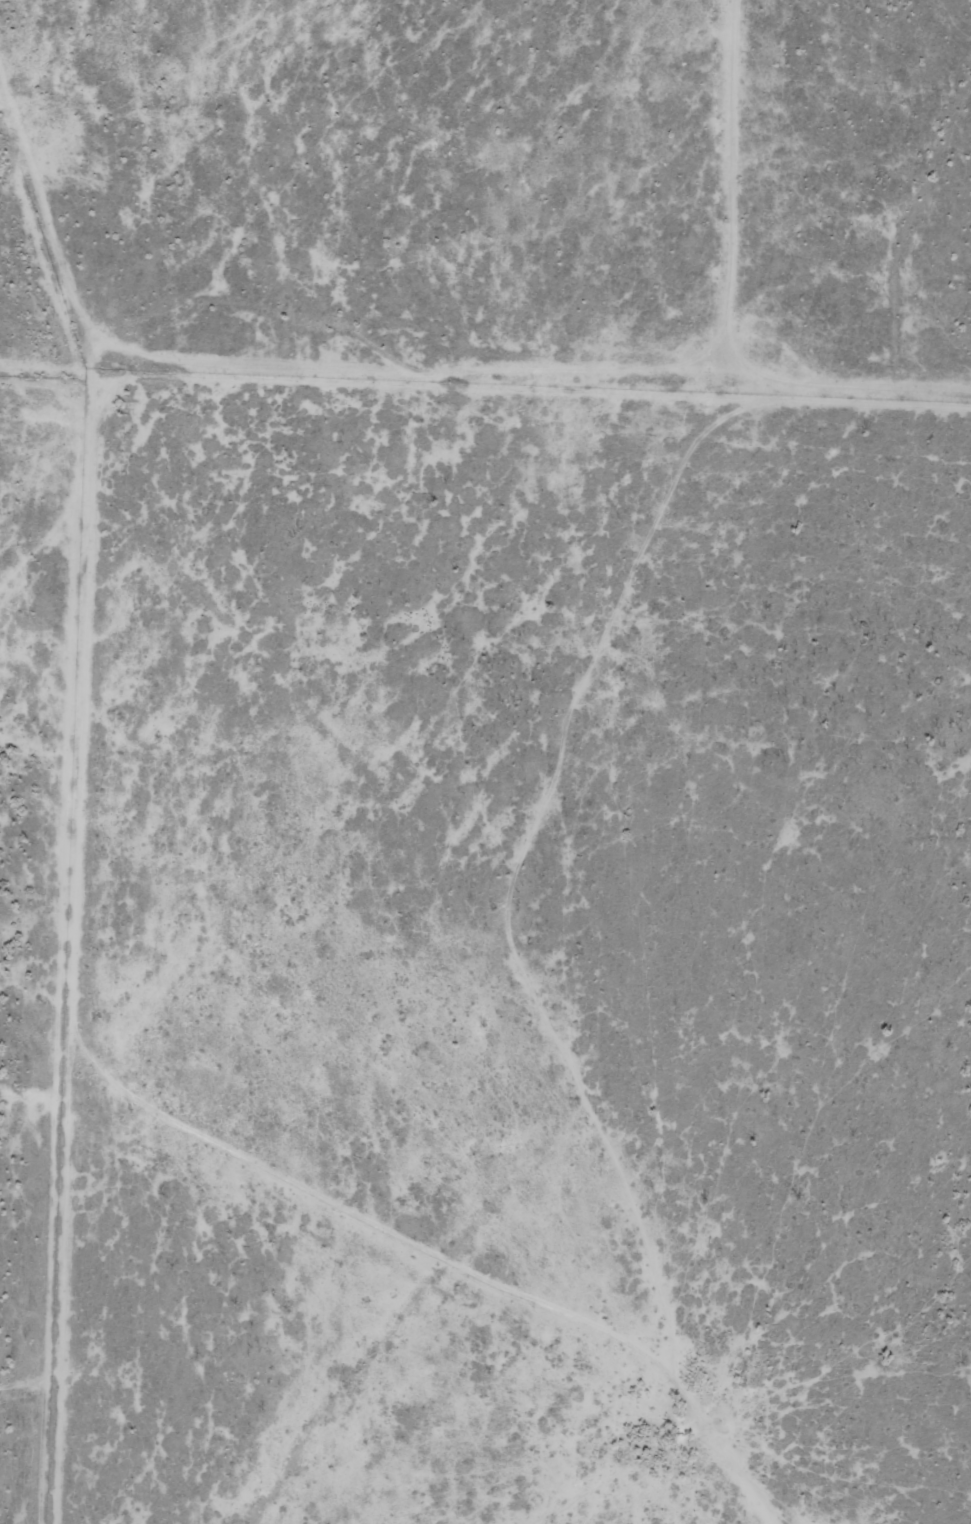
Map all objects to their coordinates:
road: (744, 198)
road: (44, 325)
road: (438, 381)
road: (480, 911)

